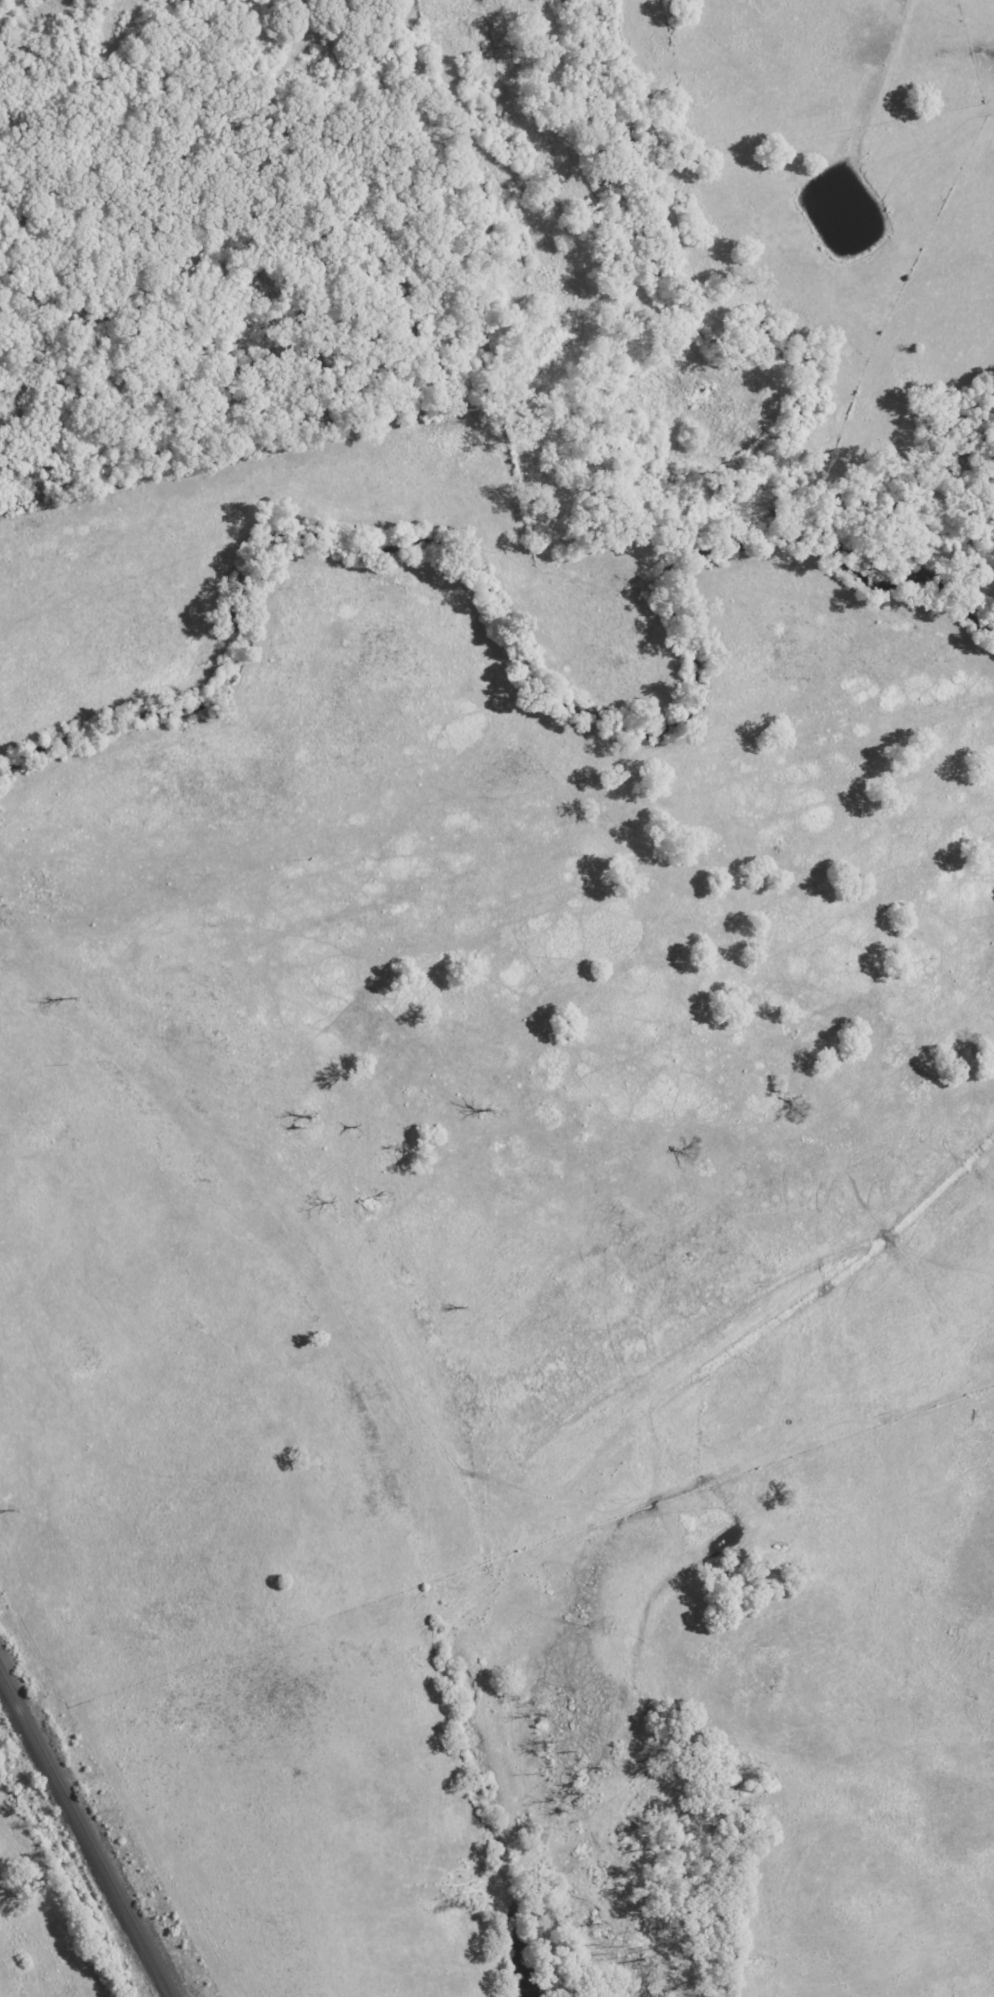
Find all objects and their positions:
railway: (83, 1839)

